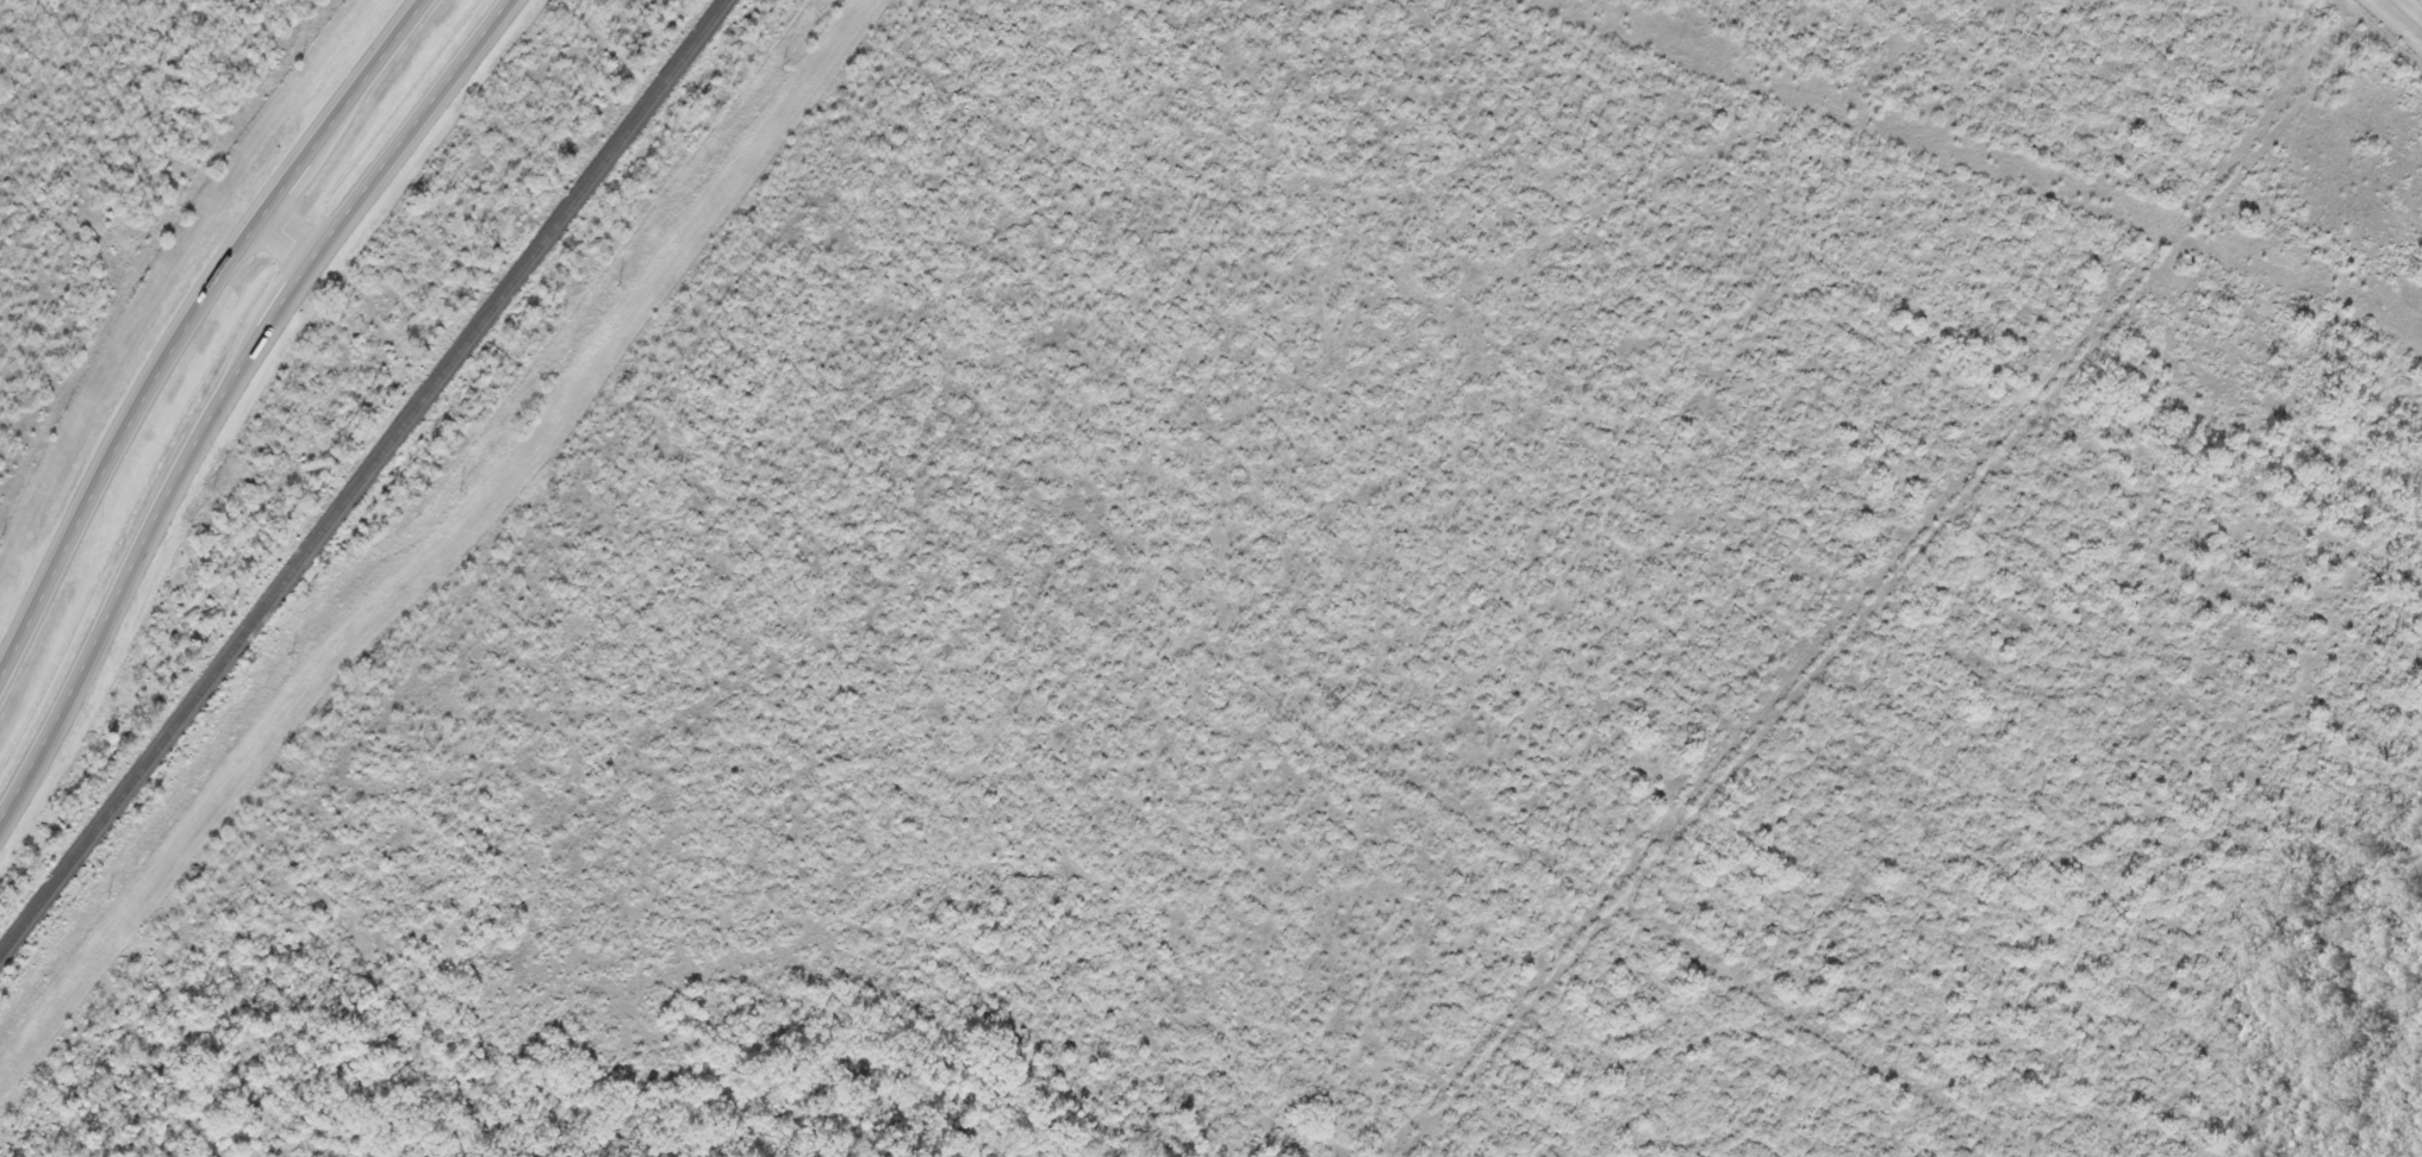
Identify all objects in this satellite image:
road: (2395, 24)
road: (297, 237)
road: (194, 330)
road: (238, 395)
railway: (363, 476)

